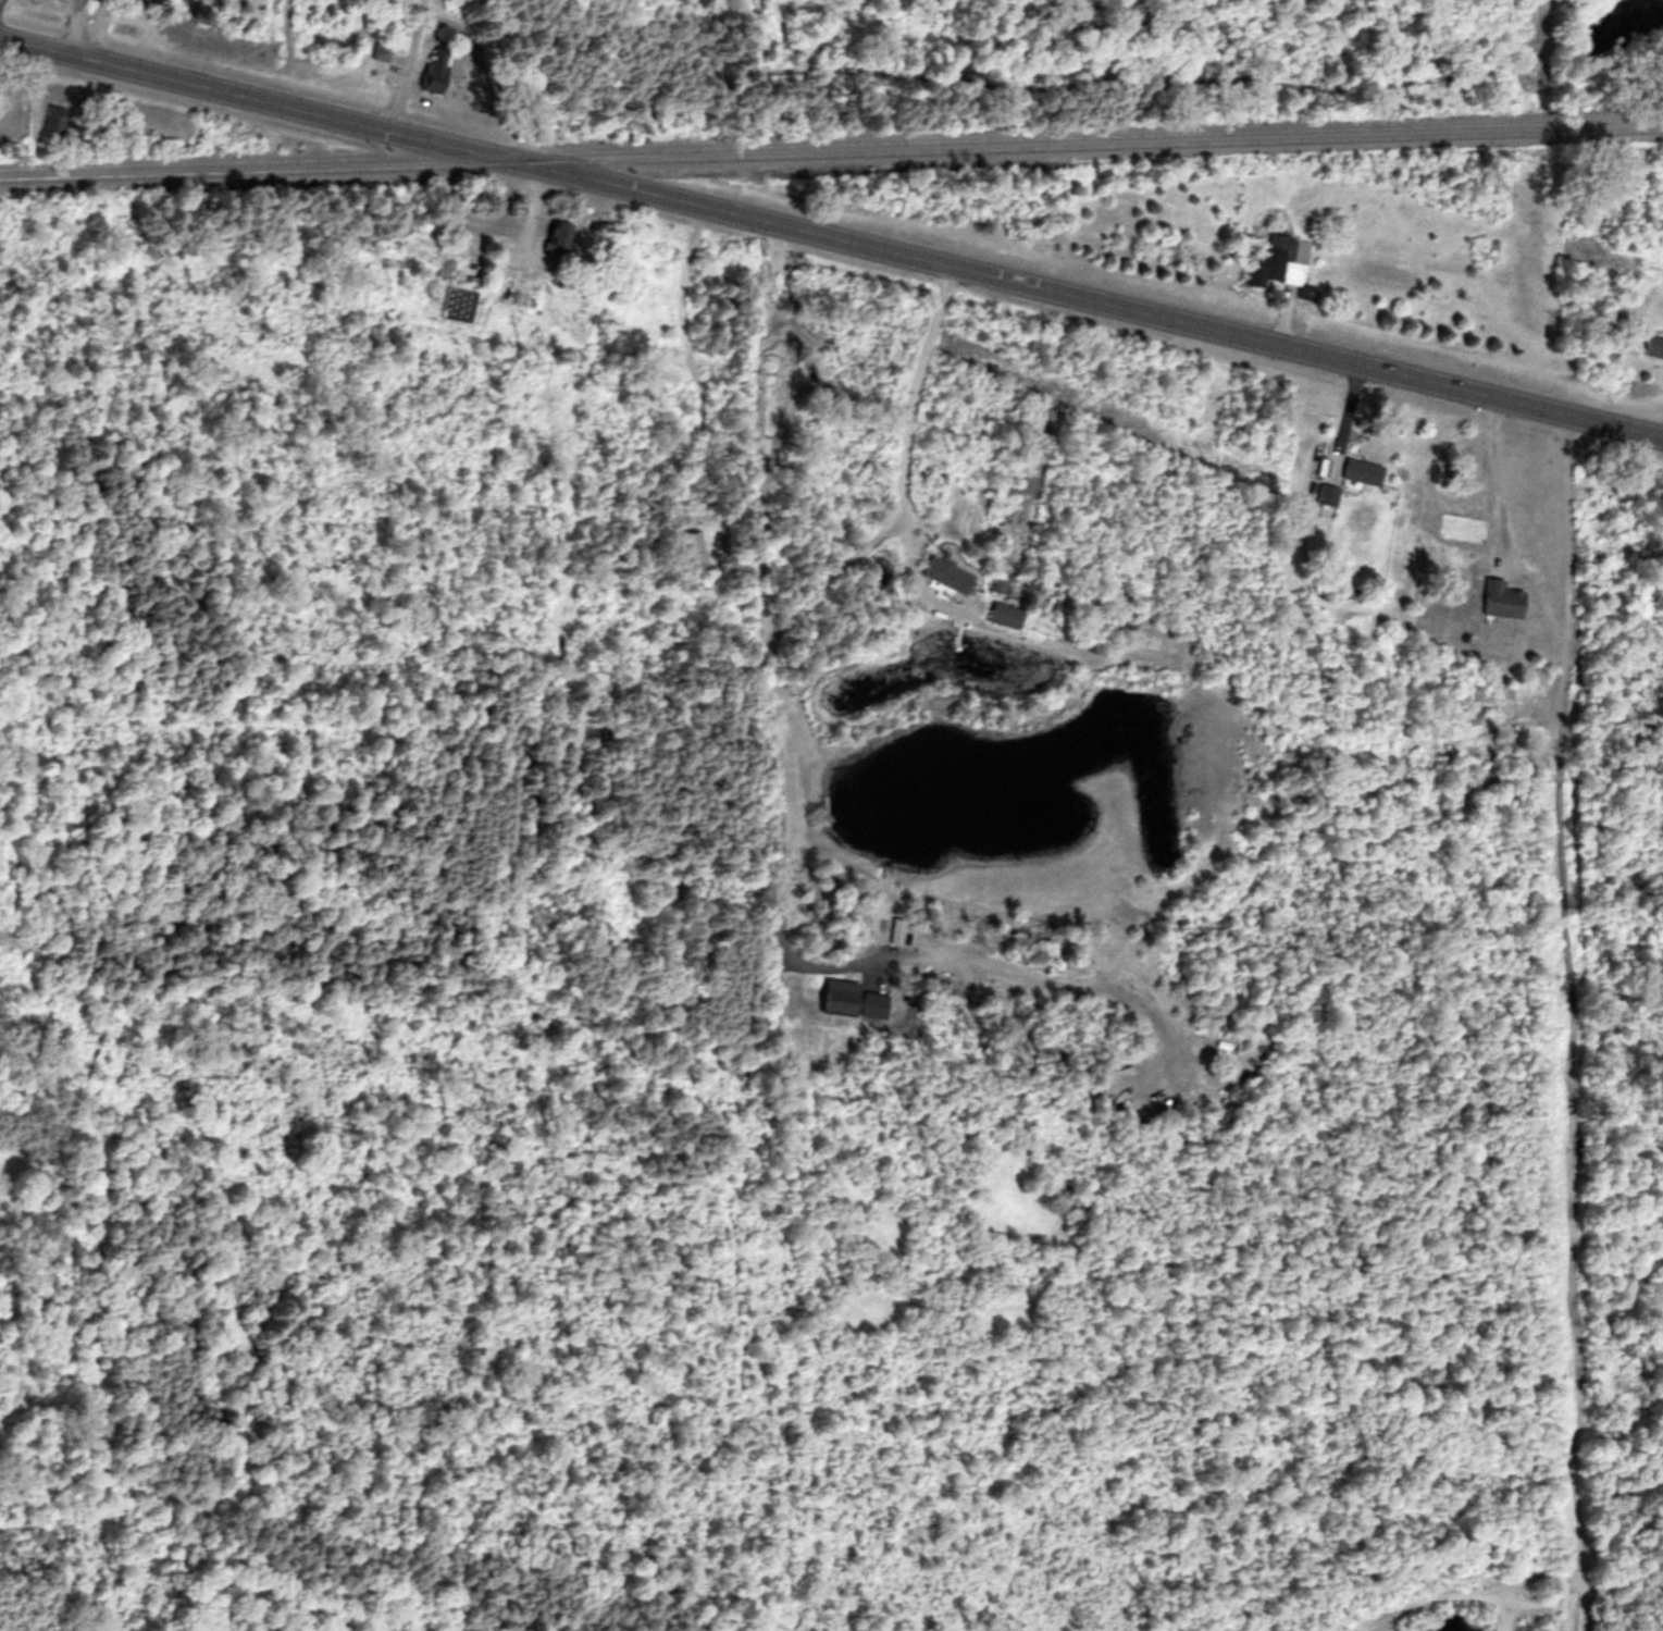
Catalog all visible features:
road: (78, 32)
building: (438, 65)
building: (55, 115)
railway: (831, 144)
railway: (831, 156)
building: (563, 232)
road: (832, 237)
building: (1287, 256)
building: (1654, 341)
building: (1365, 469)
road: (1490, 478)
building: (1329, 492)
building: (1467, 522)
building: (686, 548)
building: (951, 573)
building: (1504, 596)
building: (1007, 614)
road: (777, 625)

